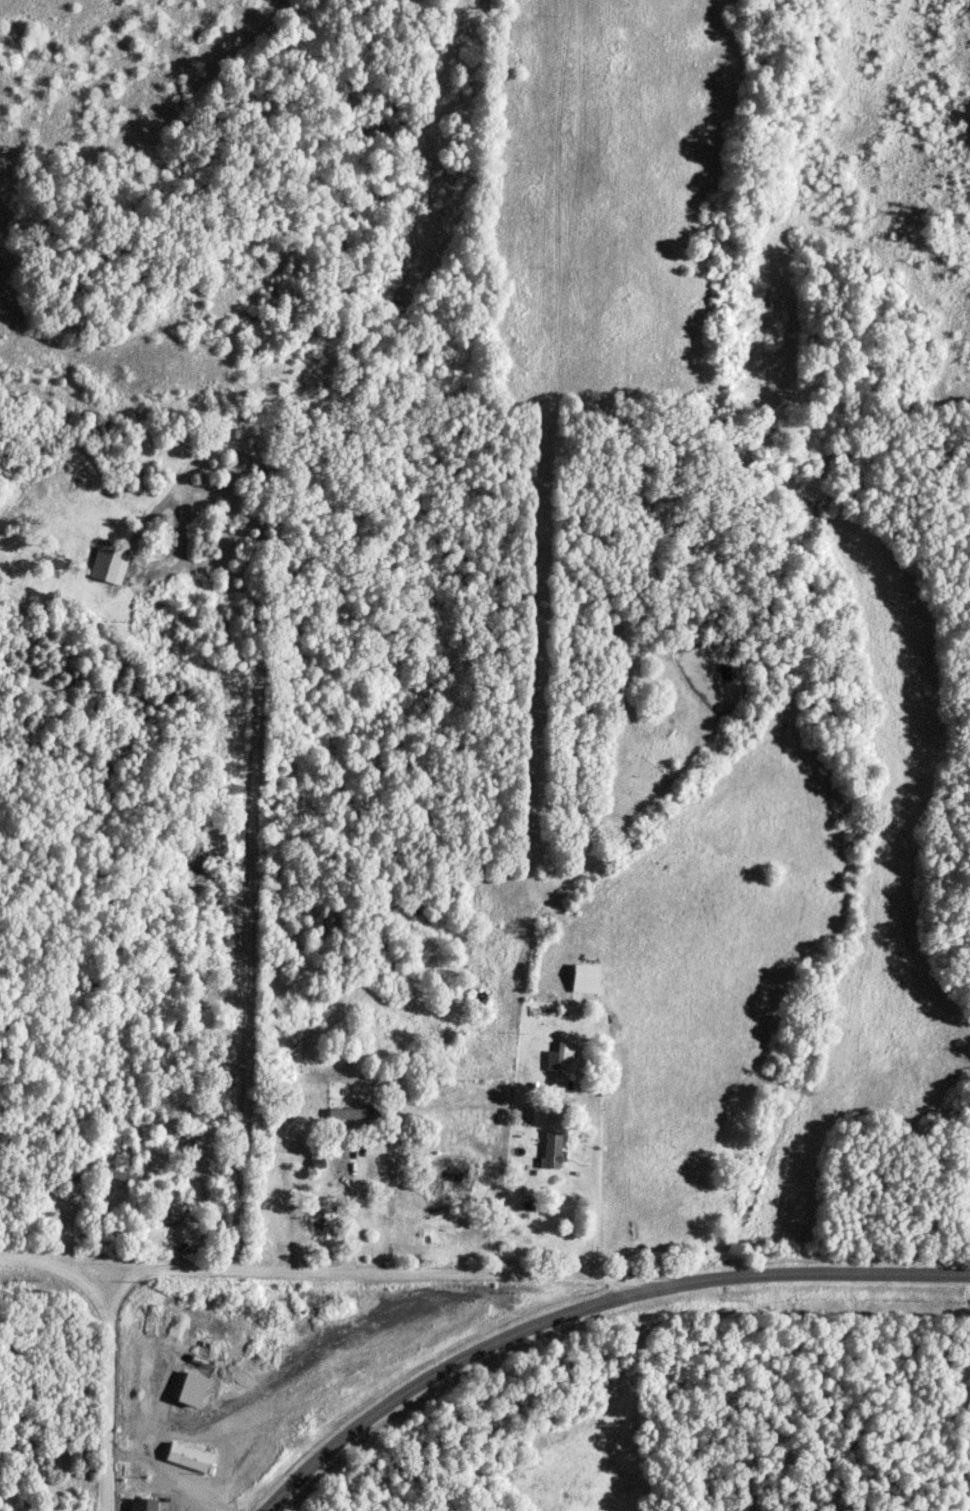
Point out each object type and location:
building: (108, 566)
building: (585, 980)
building: (559, 1066)
building: (353, 1115)
building: (551, 1152)
road: (593, 1199)
building: (172, 1215)
building: (322, 1225)
road: (324, 1273)
road: (586, 1306)
road: (107, 1388)
building: (191, 1389)
building: (187, 1457)
building: (142, 1504)

